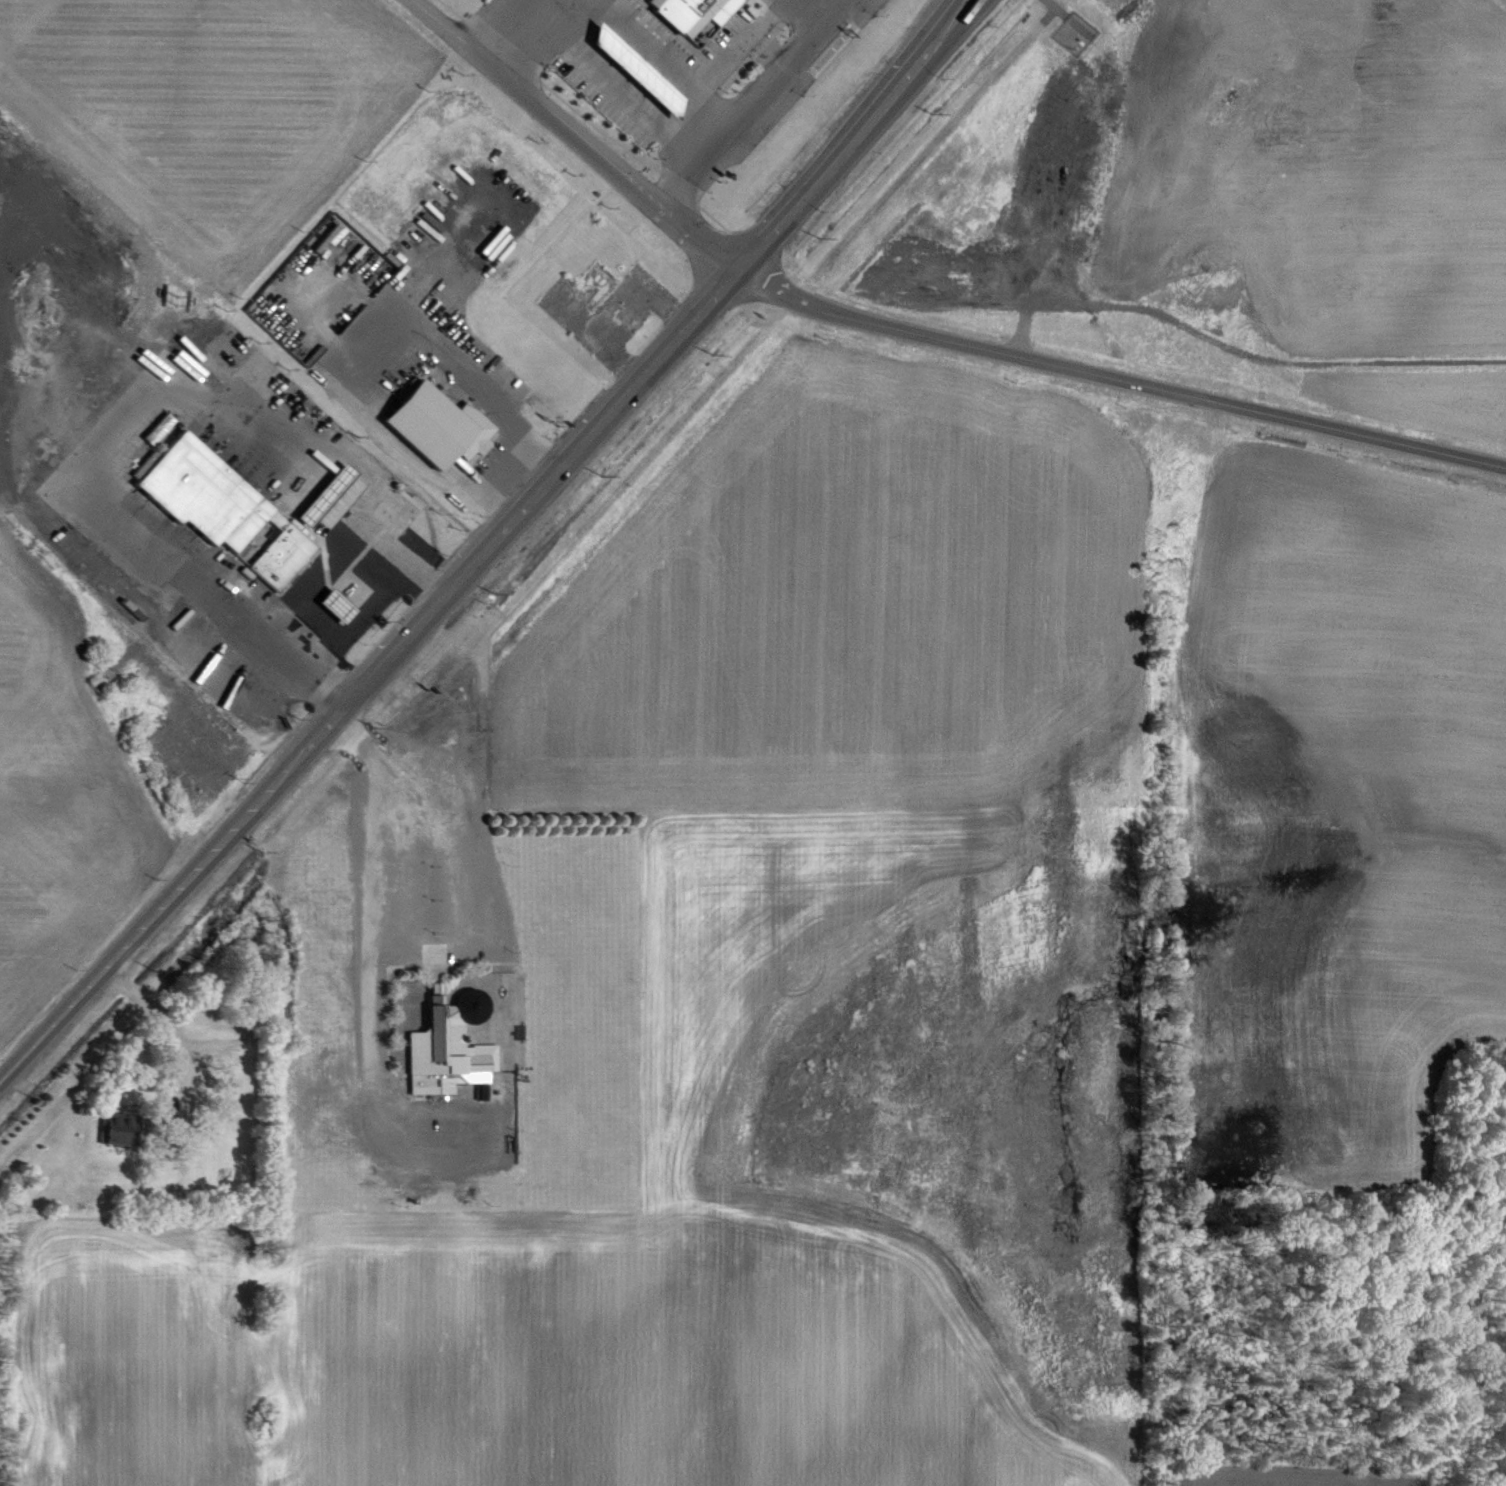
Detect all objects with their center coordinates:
building: (698, 7)
road: (500, 25)
road: (930, 44)
road: (946, 45)
road: (669, 58)
parking lot: (694, 63)
road: (612, 80)
road: (745, 104)
road: (578, 136)
building: (332, 238)
road: (360, 333)
road: (1121, 382)
road: (146, 409)
building: (445, 427)
building: (340, 504)
building: (228, 508)
road: (452, 586)
parking lot: (429, 939)
road: (370, 952)
road: (166, 1023)
building: (450, 1051)
building: (127, 1137)

